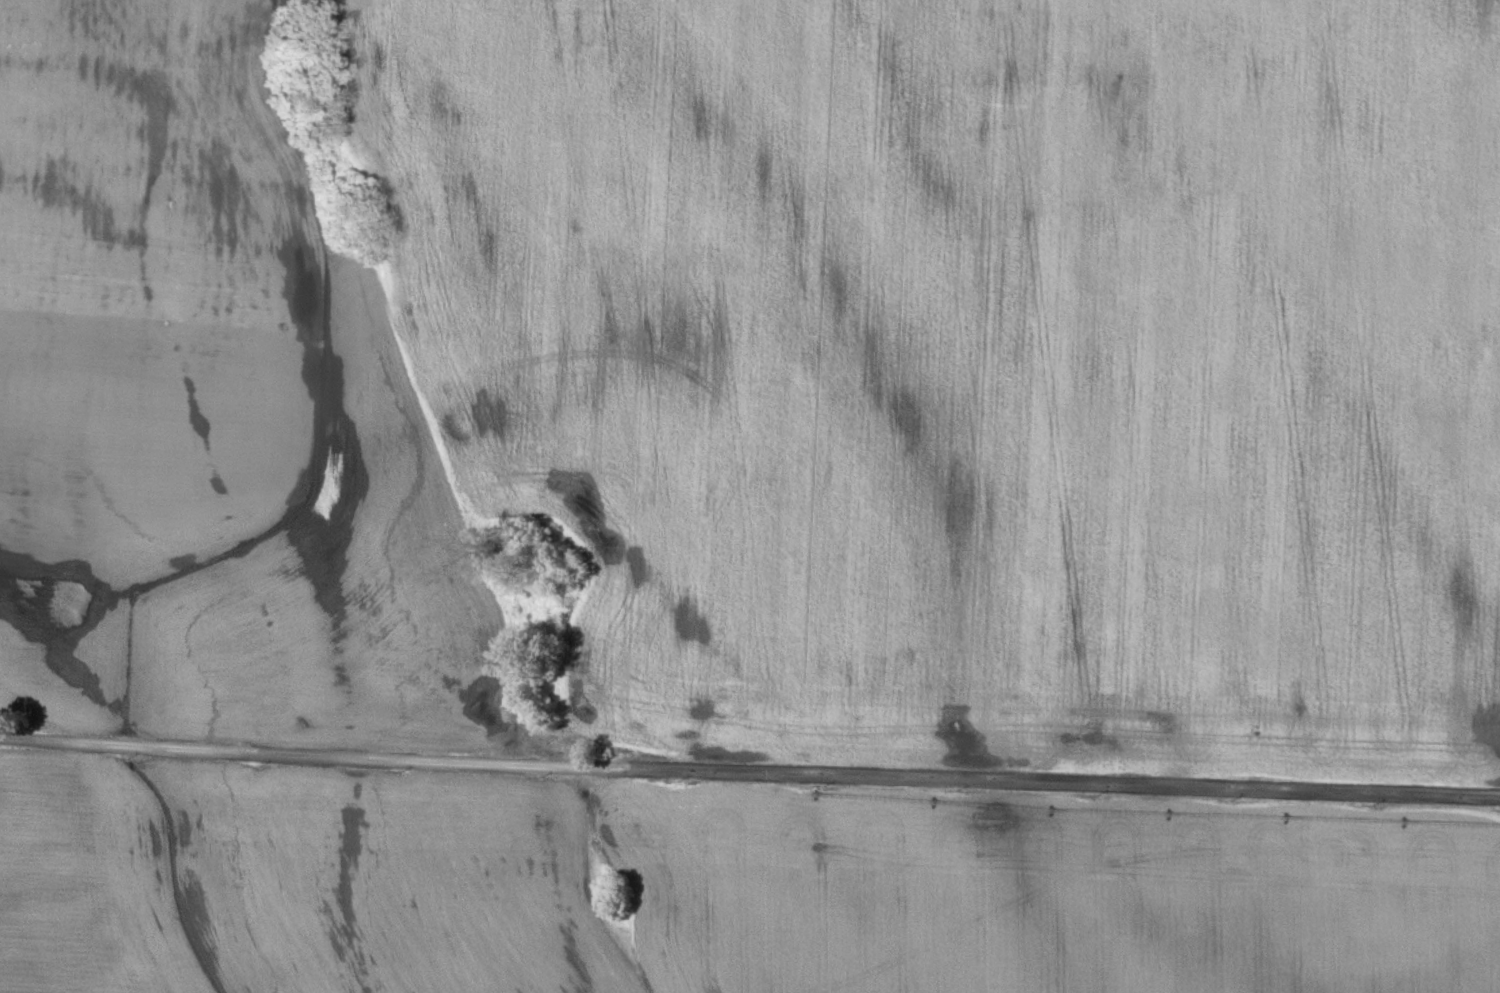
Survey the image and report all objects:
crop: (968, 361)
crop: (208, 412)
road: (749, 765)
crop: (302, 880)
crop: (1048, 891)

